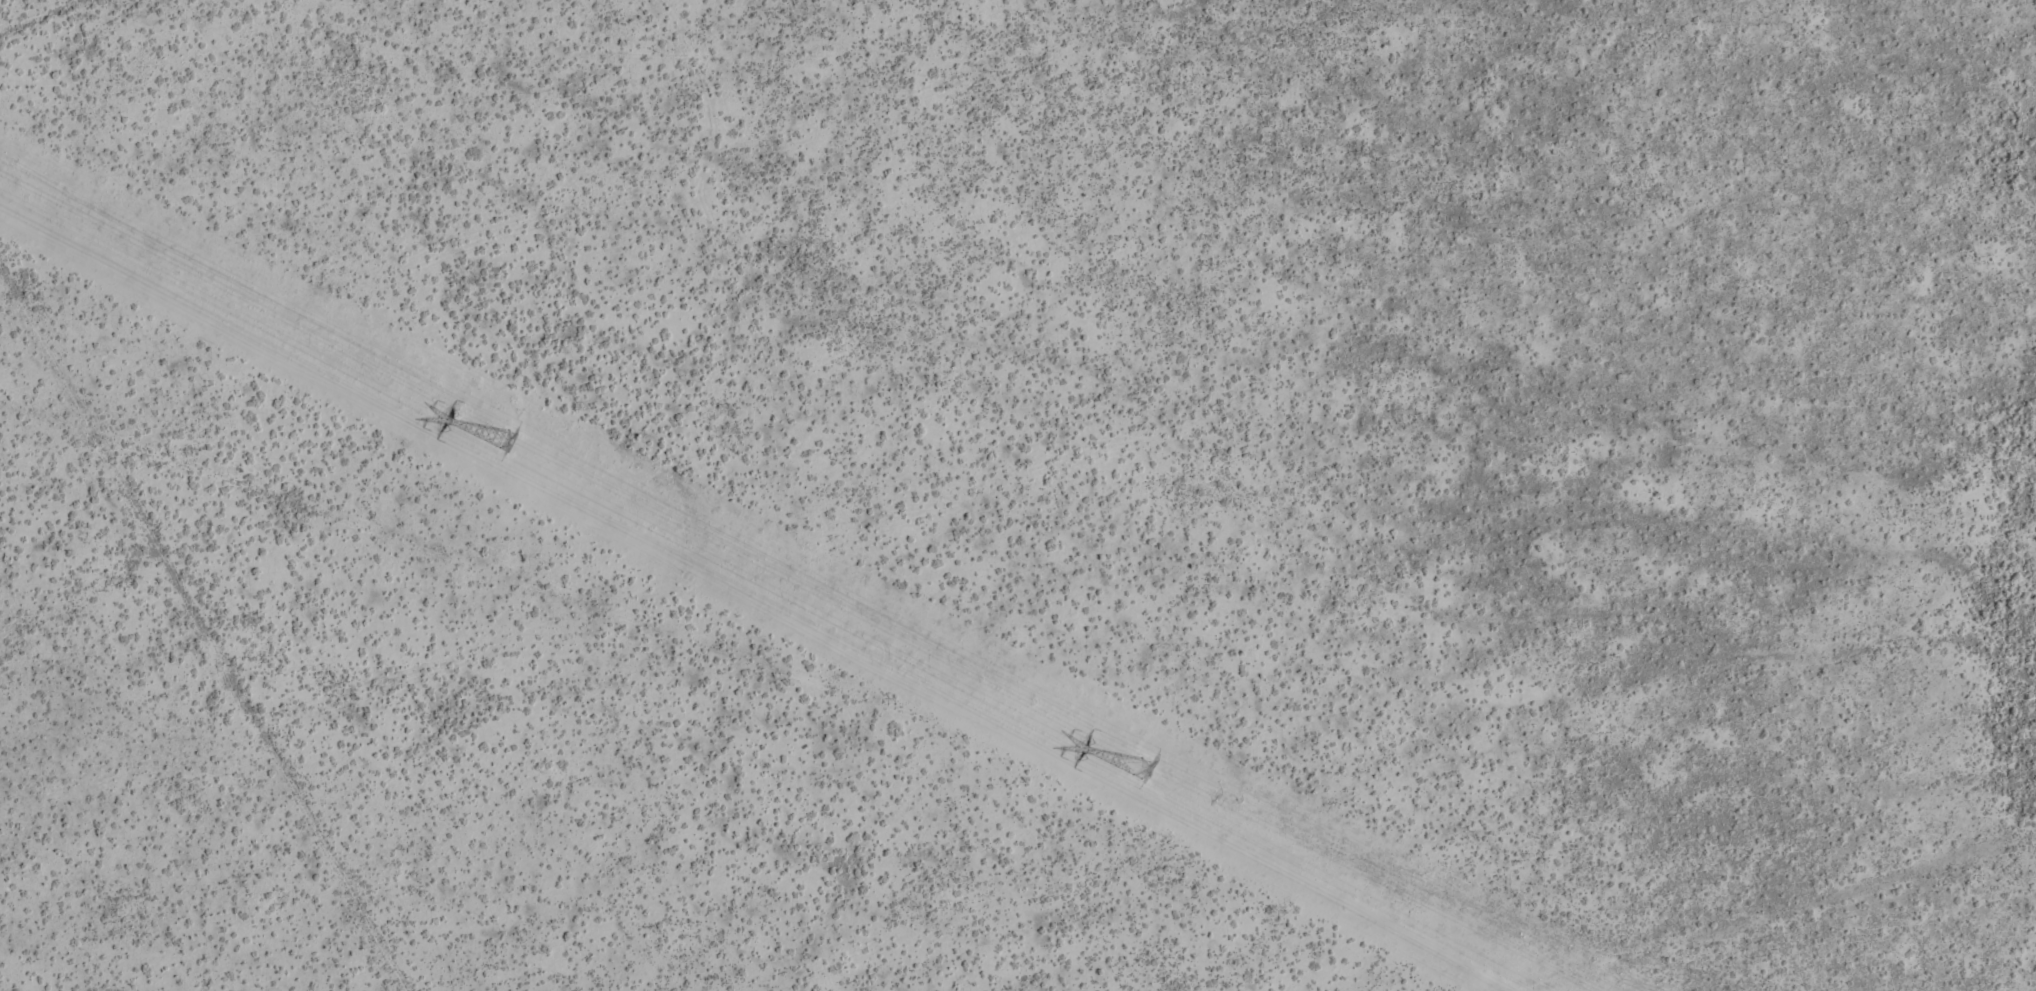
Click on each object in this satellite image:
road: (63, 23)
power tower: (506, 441)
power tower: (1141, 771)
road: (1825, 921)

